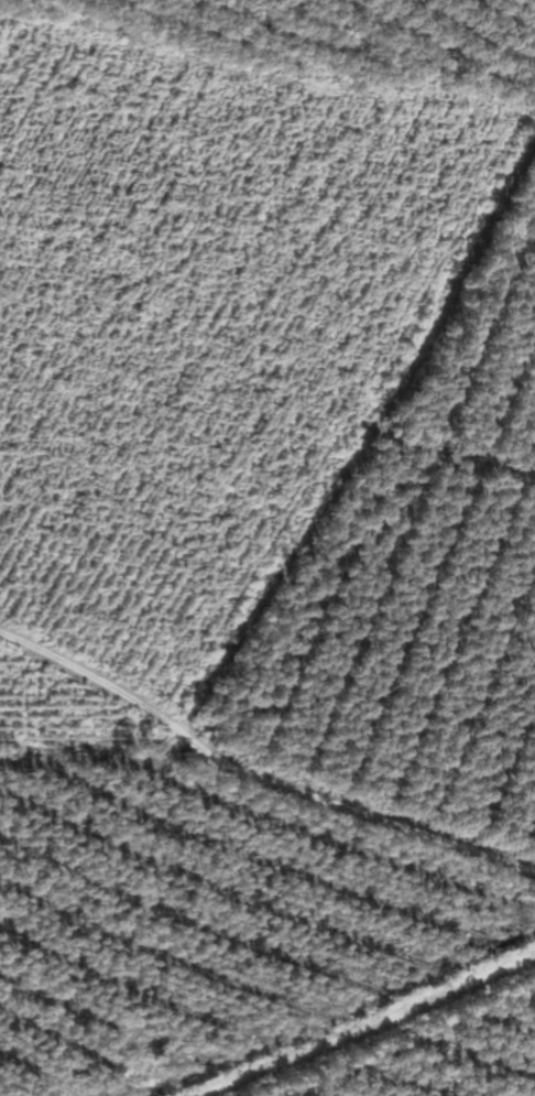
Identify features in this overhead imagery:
road: (267, 979)

